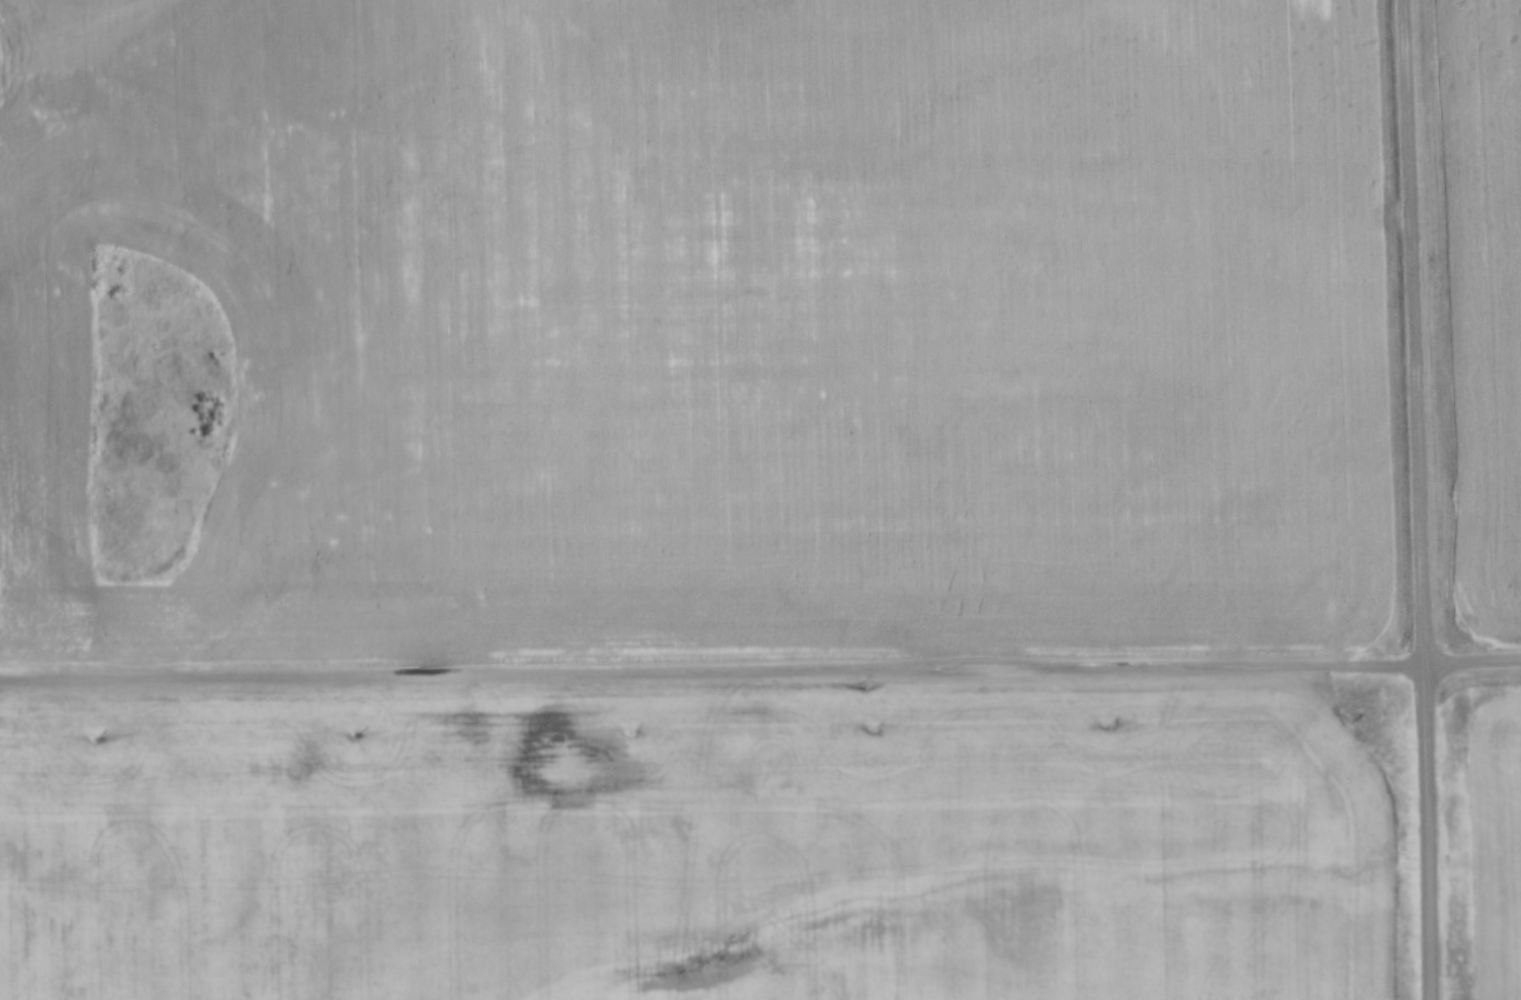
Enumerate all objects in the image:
road: (1418, 499)
road: (1473, 661)
road: (712, 674)

